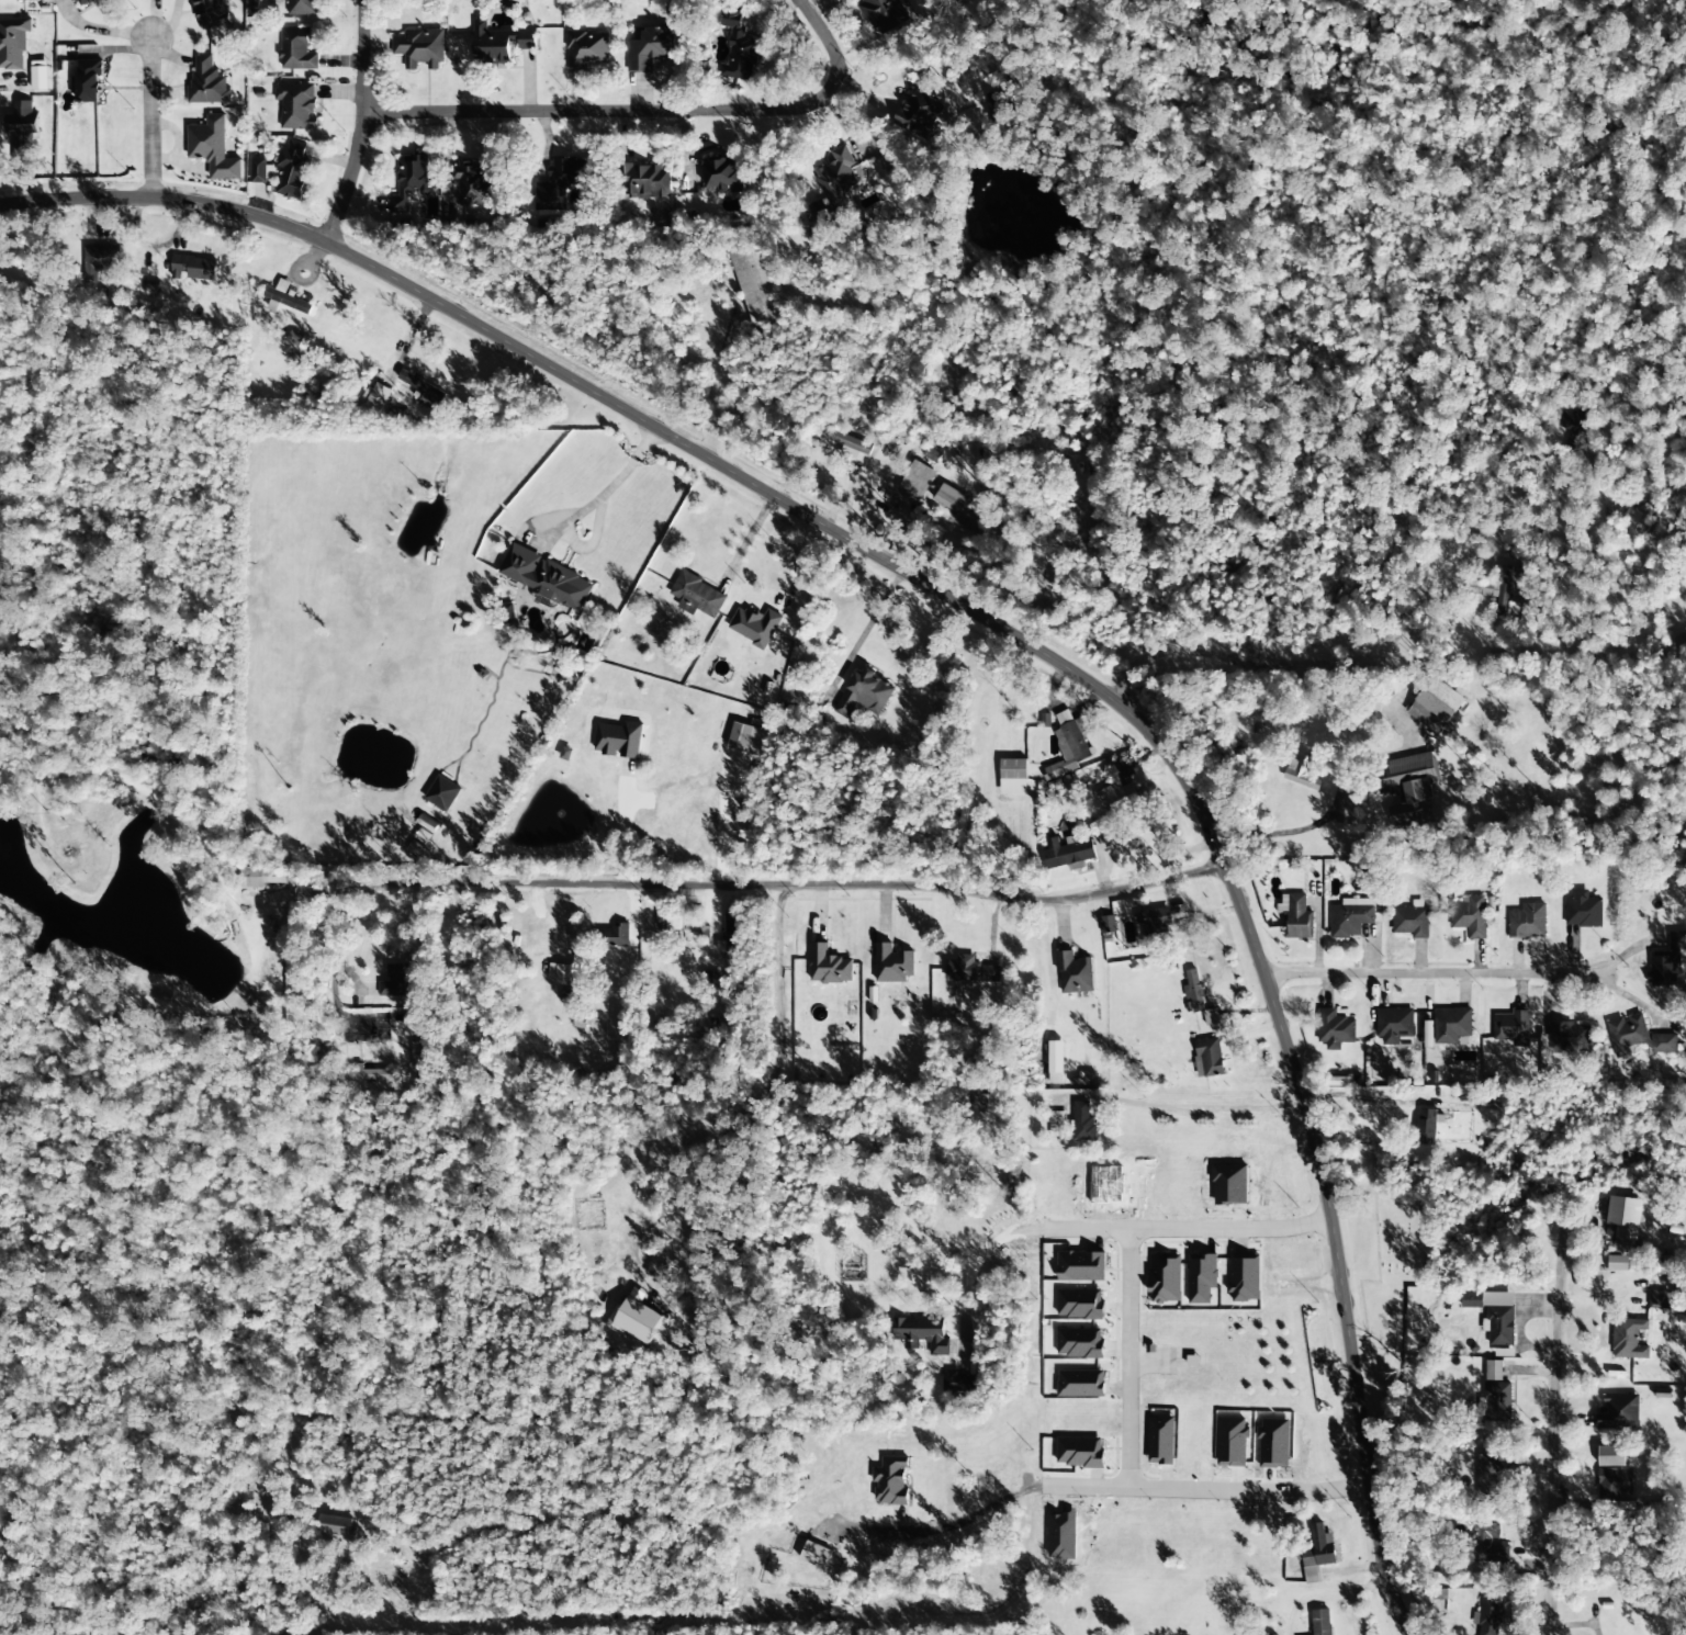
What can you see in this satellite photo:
building: (26, 0)
building: (105, 1)
building: (83, 3)
building: (303, 8)
building: (878, 11)
building: (213, 13)
building: (13, 44)
building: (499, 44)
building: (738, 45)
building: (419, 48)
building: (650, 48)
building: (297, 49)
building: (587, 50)
building: (88, 81)
building: (207, 82)
building: (296, 106)
road: (595, 113)
building: (919, 114)
road: (148, 116)
building: (22, 131)
building: (213, 148)
building: (293, 169)
building: (262, 171)
building: (722, 174)
road: (346, 179)
building: (411, 181)
building: (647, 182)
building: (472, 183)
building: (561, 183)
building: (834, 184)
building: (99, 262)
building: (194, 268)
building: (755, 285)
building: (288, 297)
building: (423, 390)
building: (378, 399)
building: (1574, 426)
building: (846, 442)
building: (917, 481)
building: (951, 499)
building: (1636, 522)
building: (546, 578)
building: (1502, 593)
building: (697, 596)
building: (508, 613)
building: (755, 627)
road: (1007, 633)
building: (1681, 643)
building: (864, 695)
building: (1437, 708)
building: (619, 741)
building: (1069, 745)
building: (566, 754)
building: (1123, 769)
building: (1301, 774)
building: (1013, 777)
building: (1410, 787)
building: (442, 793)
building: (1120, 798)
building: (1112, 842)
building: (1069, 854)
road: (711, 871)
building: (265, 878)
building: (1582, 911)
building: (1296, 916)
building: (1350, 917)
building: (1470, 917)
building: (1410, 922)
building: (1528, 922)
building: (1155, 924)
building: (1108, 925)
building: (612, 936)
building: (730, 937)
building: (1666, 962)
building: (893, 965)
building: (829, 967)
building: (969, 970)
building: (563, 973)
building: (1074, 973)
road: (1471, 977)
building: (398, 982)
building: (1194, 992)
road: (1634, 1007)
building: (1211, 1018)
building: (1394, 1025)
building: (1451, 1026)
building: (1335, 1028)
building: (1511, 1028)
building: (1627, 1035)
building: (1682, 1035)
building: (1564, 1039)
building: (1664, 1044)
building: (421, 1053)
building: (1207, 1058)
building: (1056, 1062)
building: (368, 1074)
building: (1083, 1079)
building: (1057, 1119)
building: (1083, 1123)
building: (1426, 1127)
building: (1625, 1225)
road: (1185, 1229)
building: (1617, 1263)
building: (1081, 1266)
road: (1556, 1273)
building: (1165, 1278)
building: (1201, 1278)
building: (1244, 1279)
building: (1471, 1300)
building: (1659, 1300)
building: (1080, 1304)
building: (633, 1318)
building: (1500, 1326)
building: (921, 1334)
building: (1629, 1339)
building: (1080, 1343)
building: (1493, 1371)
building: (957, 1383)
building: (1080, 1384)
building: (1496, 1401)
building: (1619, 1413)
building: (1160, 1441)
building: (1079, 1452)
road: (1127, 1475)
building: (1487, 1477)
building: (1614, 1477)
building: (890, 1481)
building: (334, 1525)
building: (1487, 1545)
building: (817, 1553)
building: (1317, 1554)
building: (1488, 1616)
building: (1320, 1622)
building: (1254, 1634)

